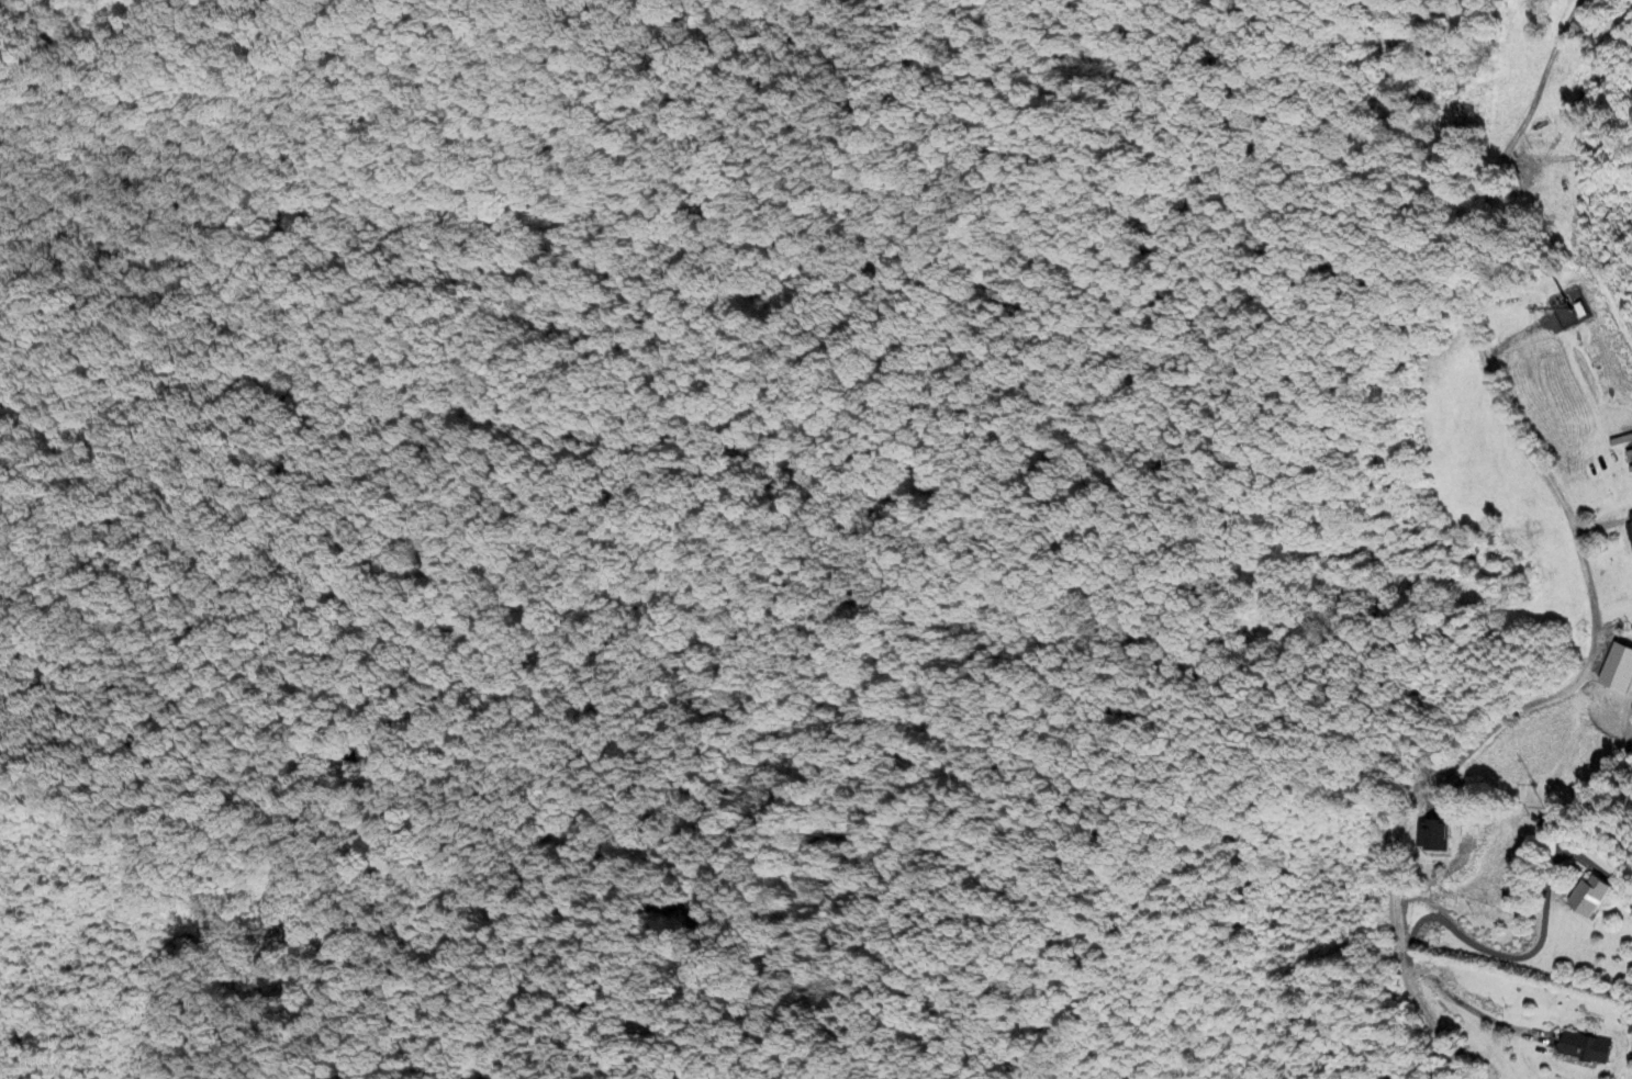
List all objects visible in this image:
building: (1630, 531)
road: (1585, 570)
building: (1435, 836)
building: (1602, 897)
road: (1530, 956)
road: (1475, 1012)
building: (1588, 1049)

